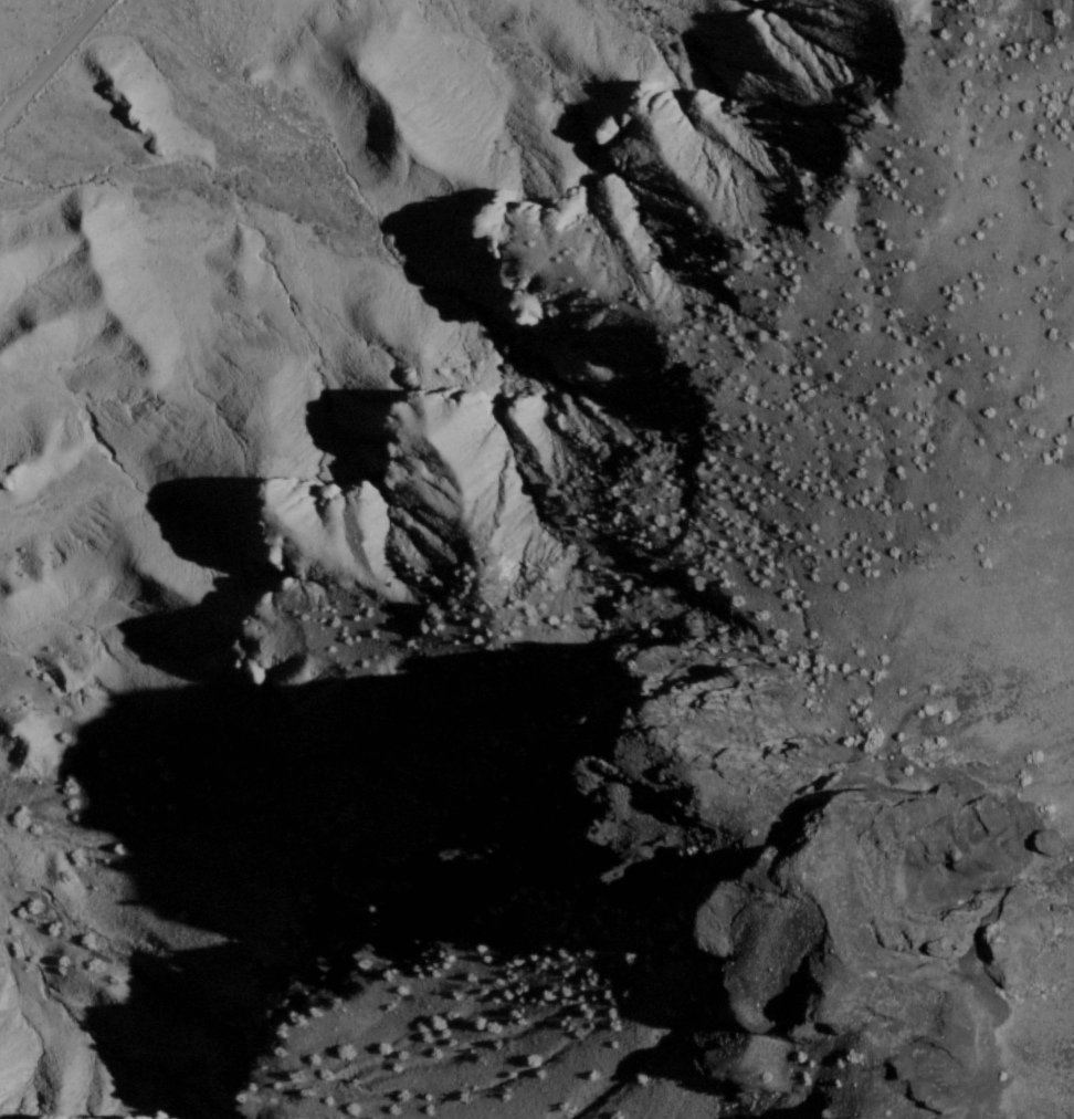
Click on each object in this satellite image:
road: (49, 55)

